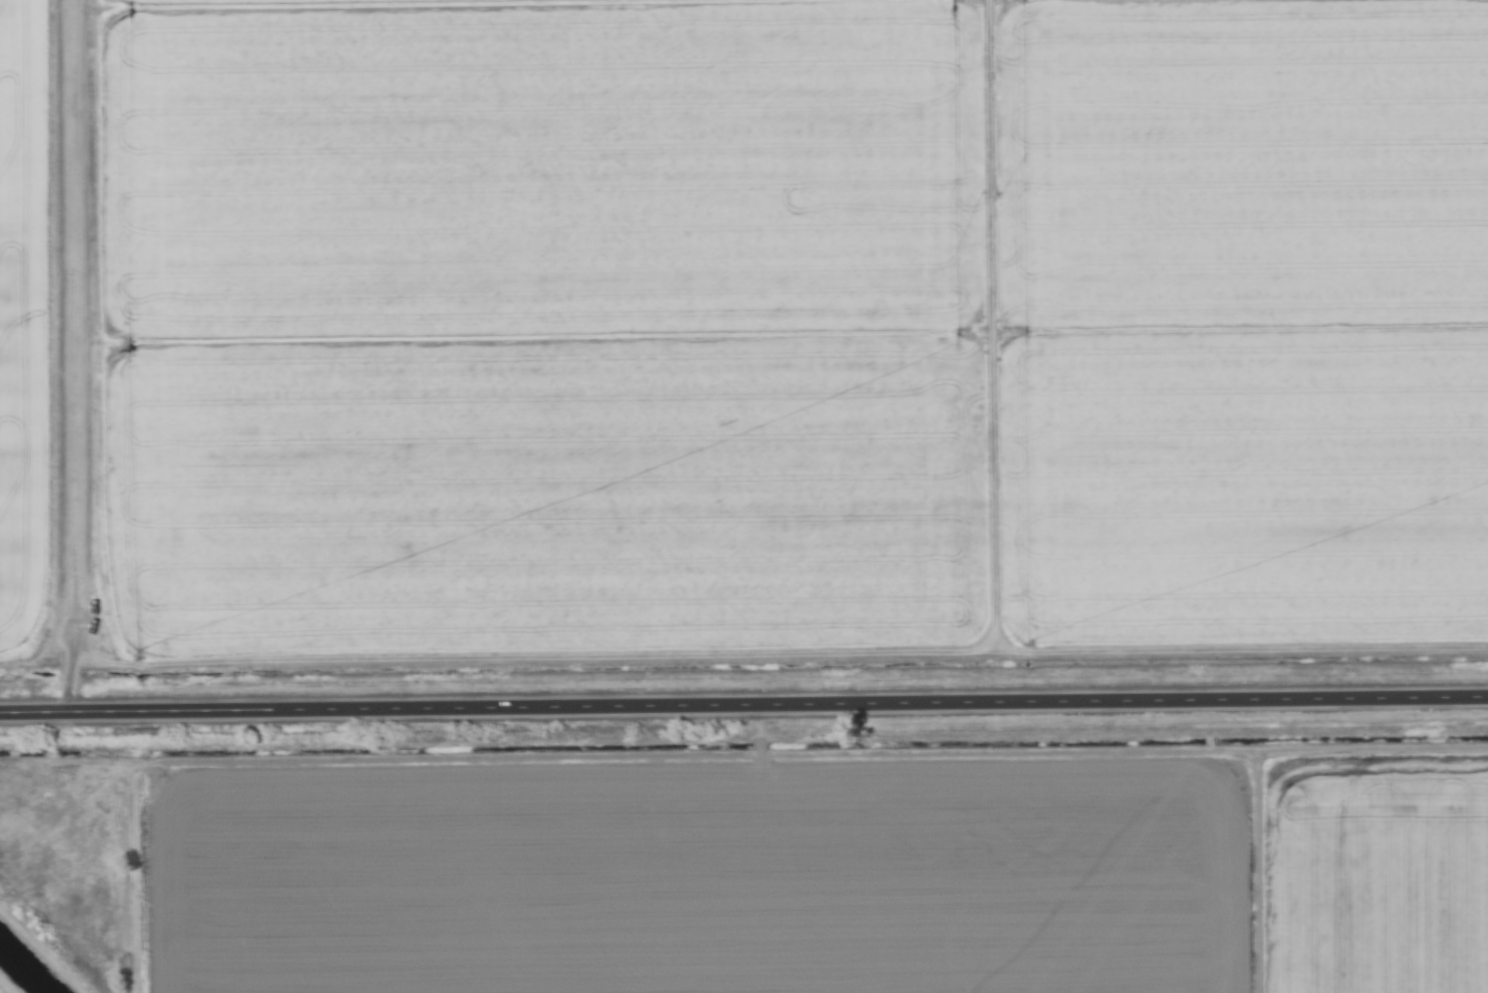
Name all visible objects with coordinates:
road: (743, 706)

